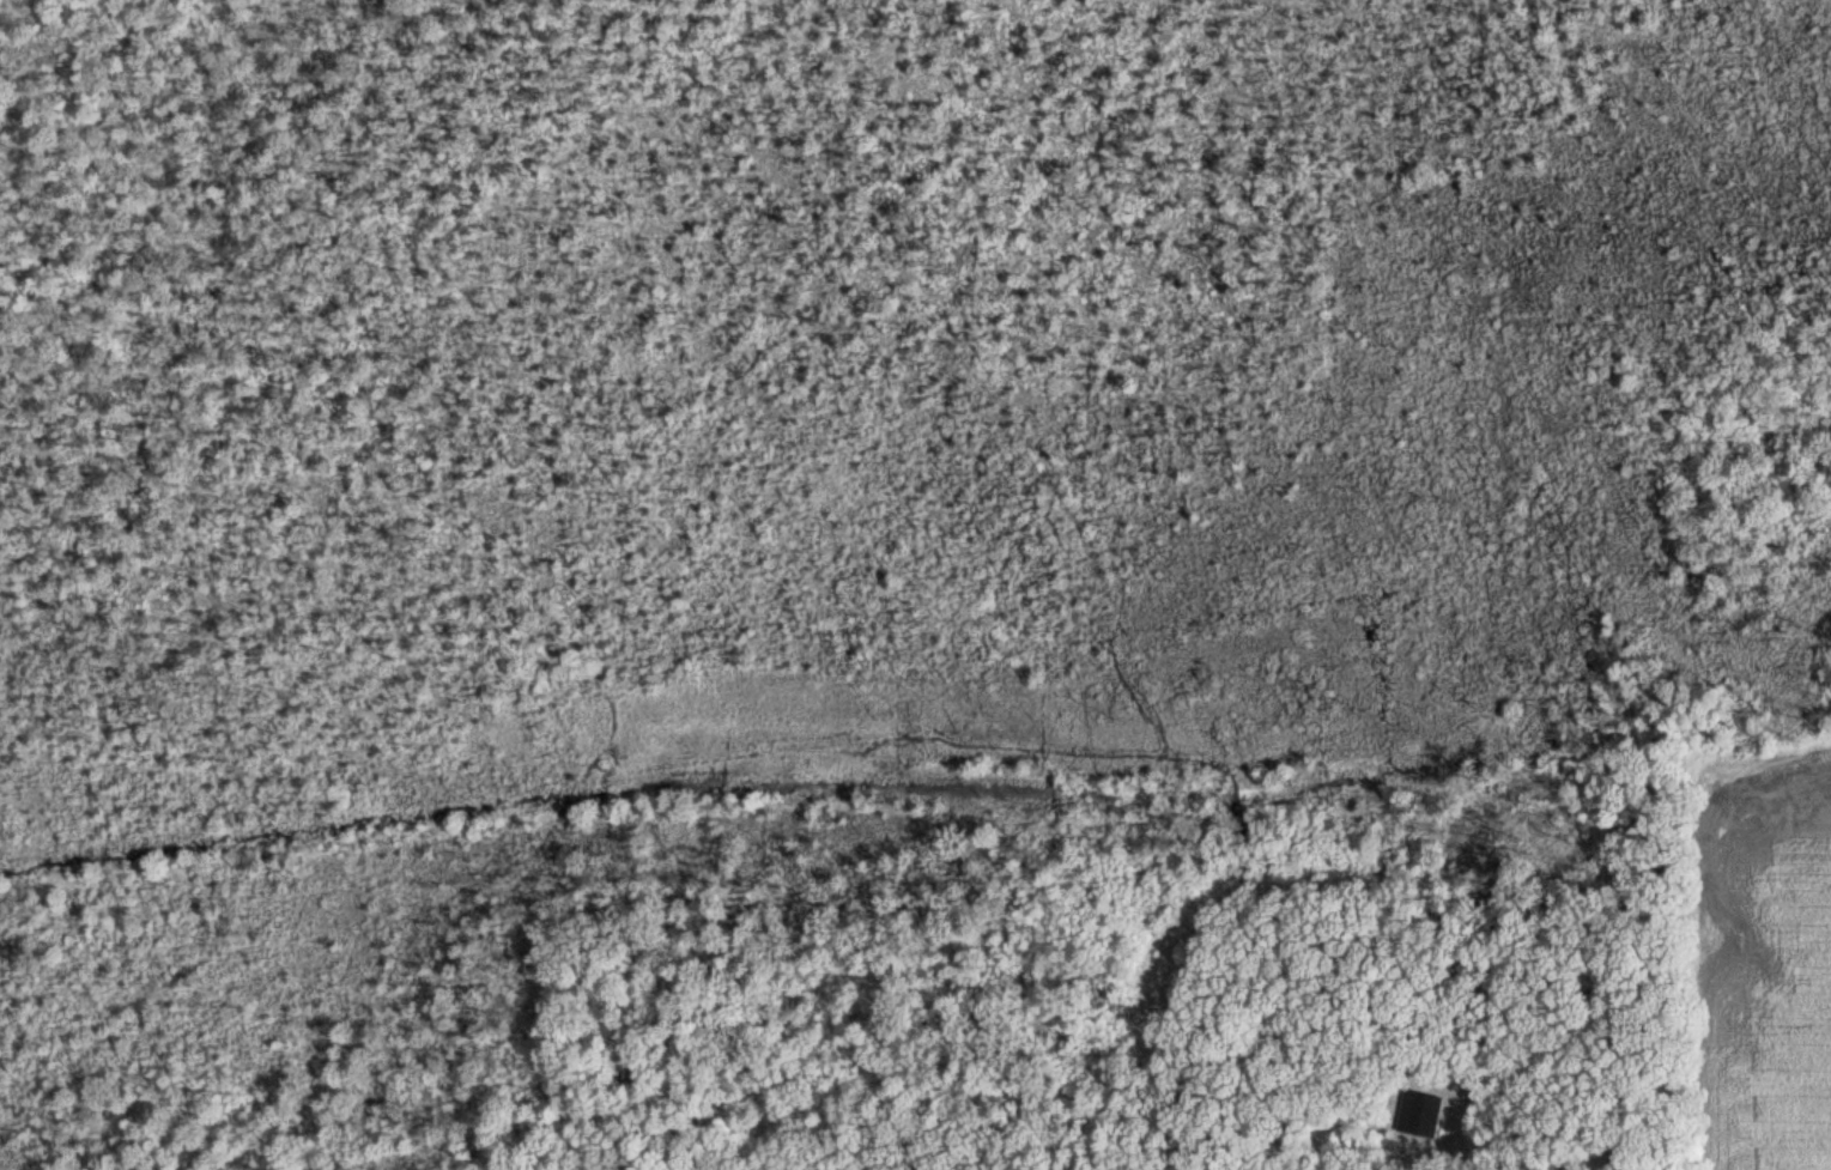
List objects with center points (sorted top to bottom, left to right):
building: (1415, 1119)

